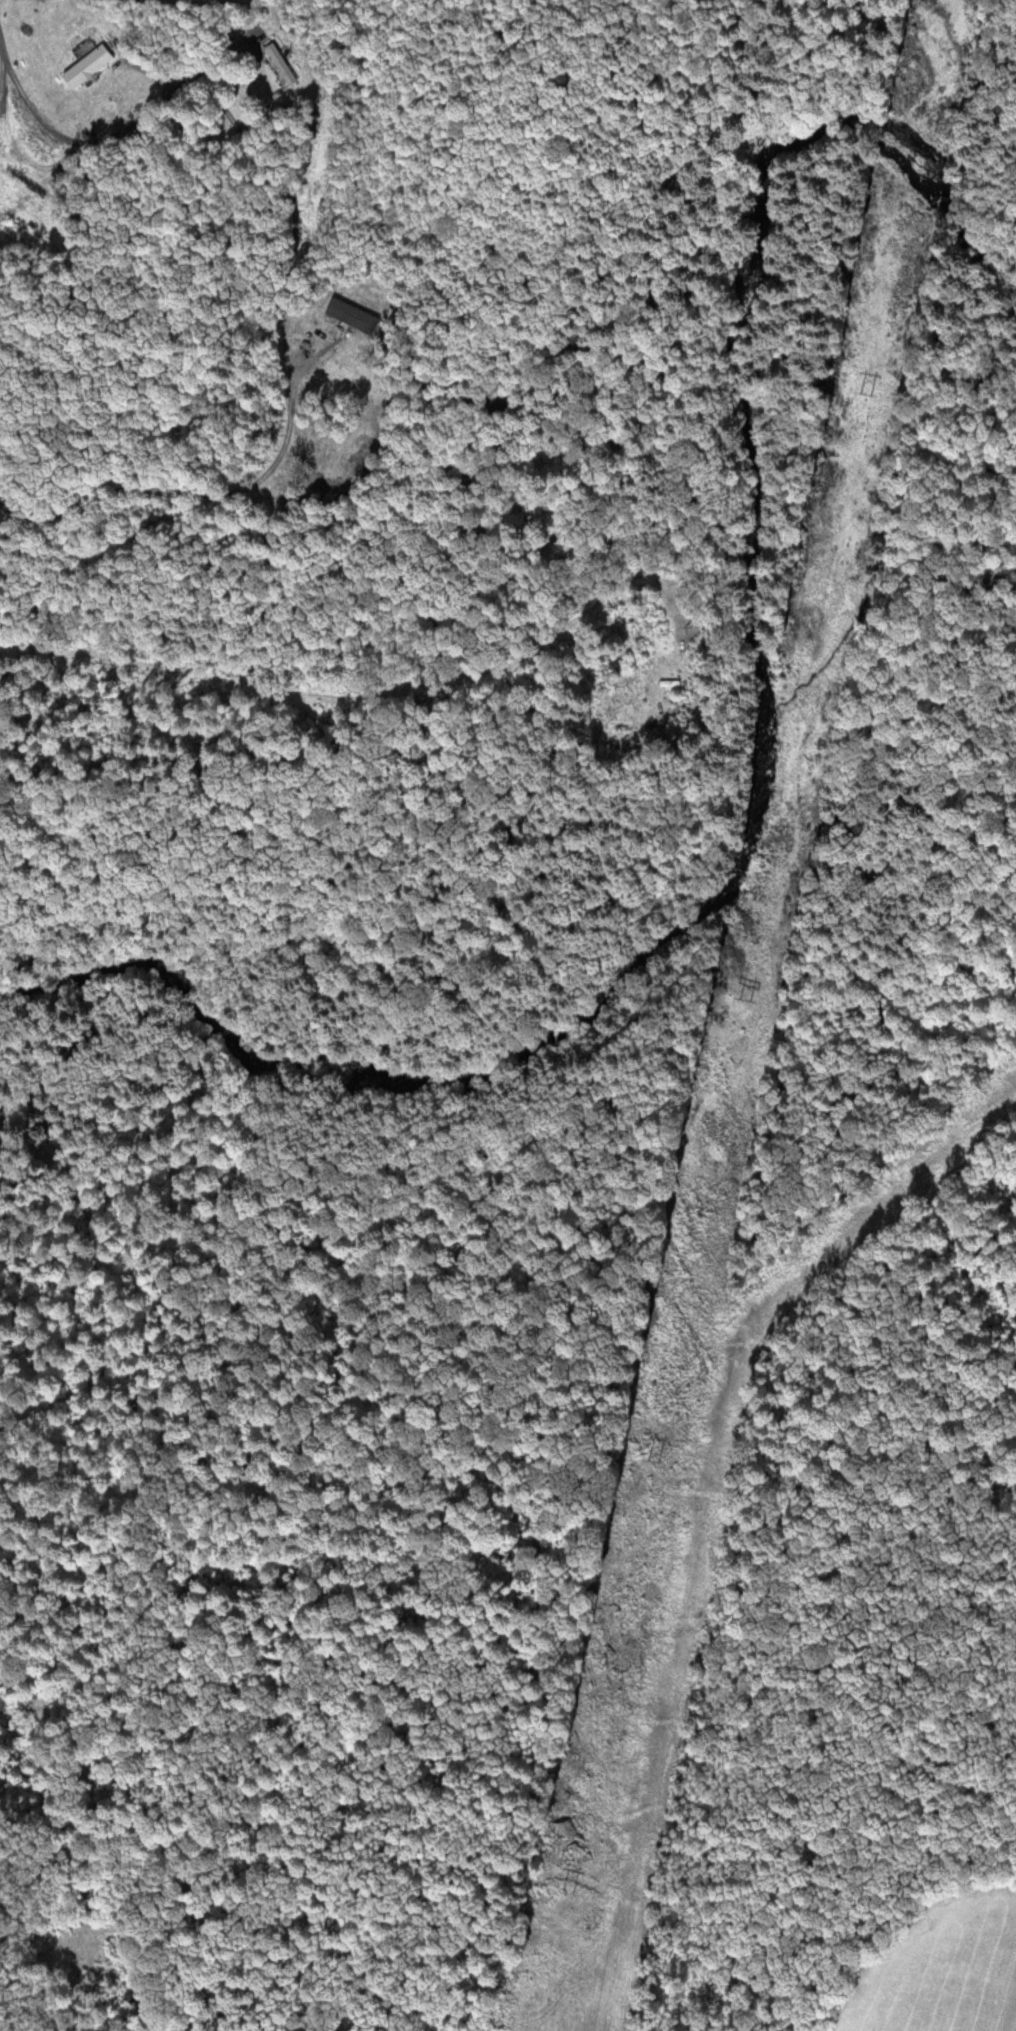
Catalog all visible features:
building: (279, 63)
building: (83, 65)
river: (749, 772)

